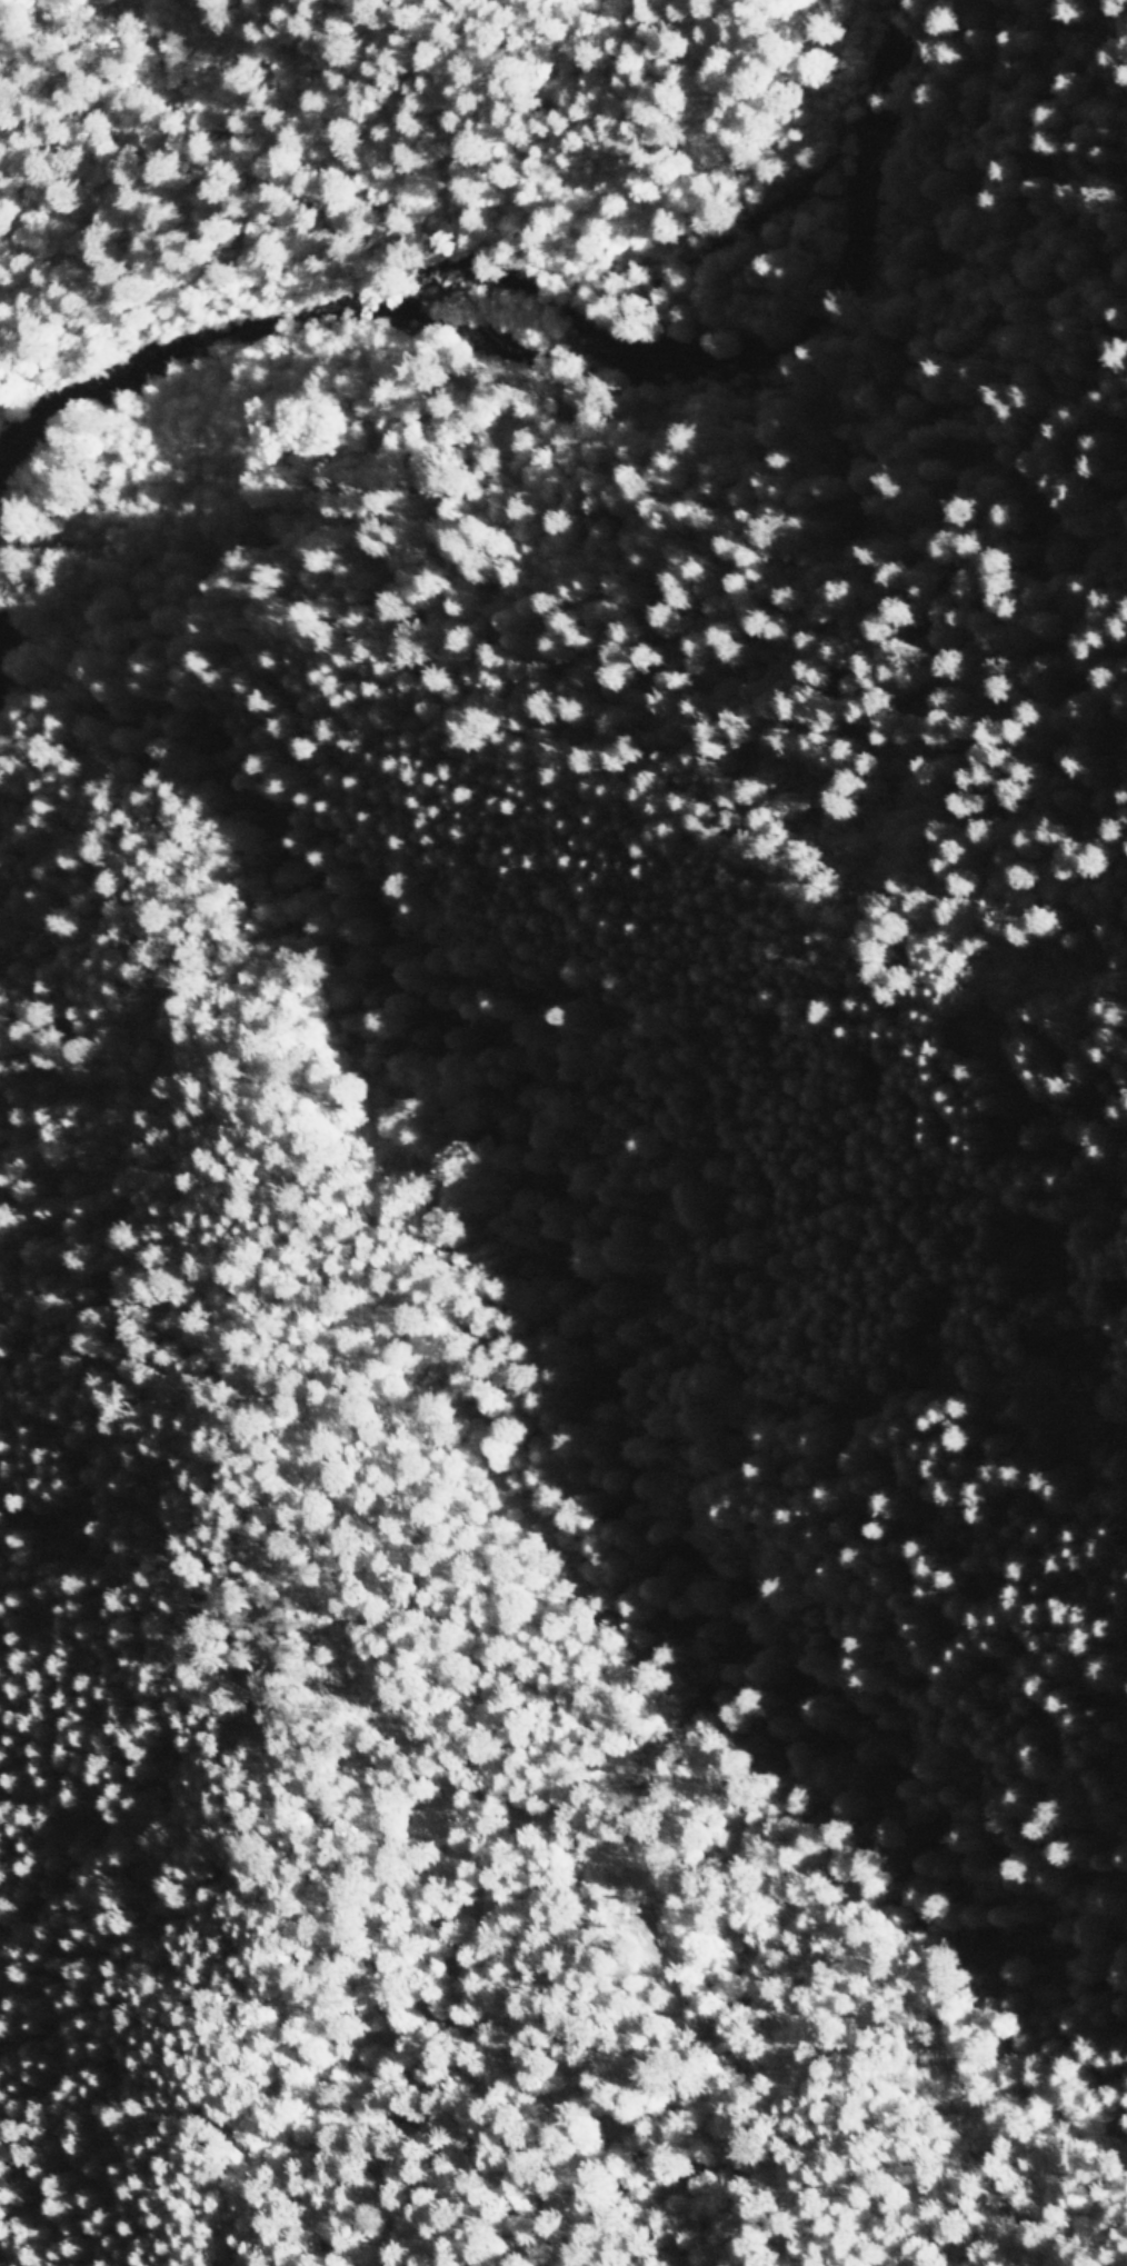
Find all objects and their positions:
river: (551, 316)
road: (227, 2146)

